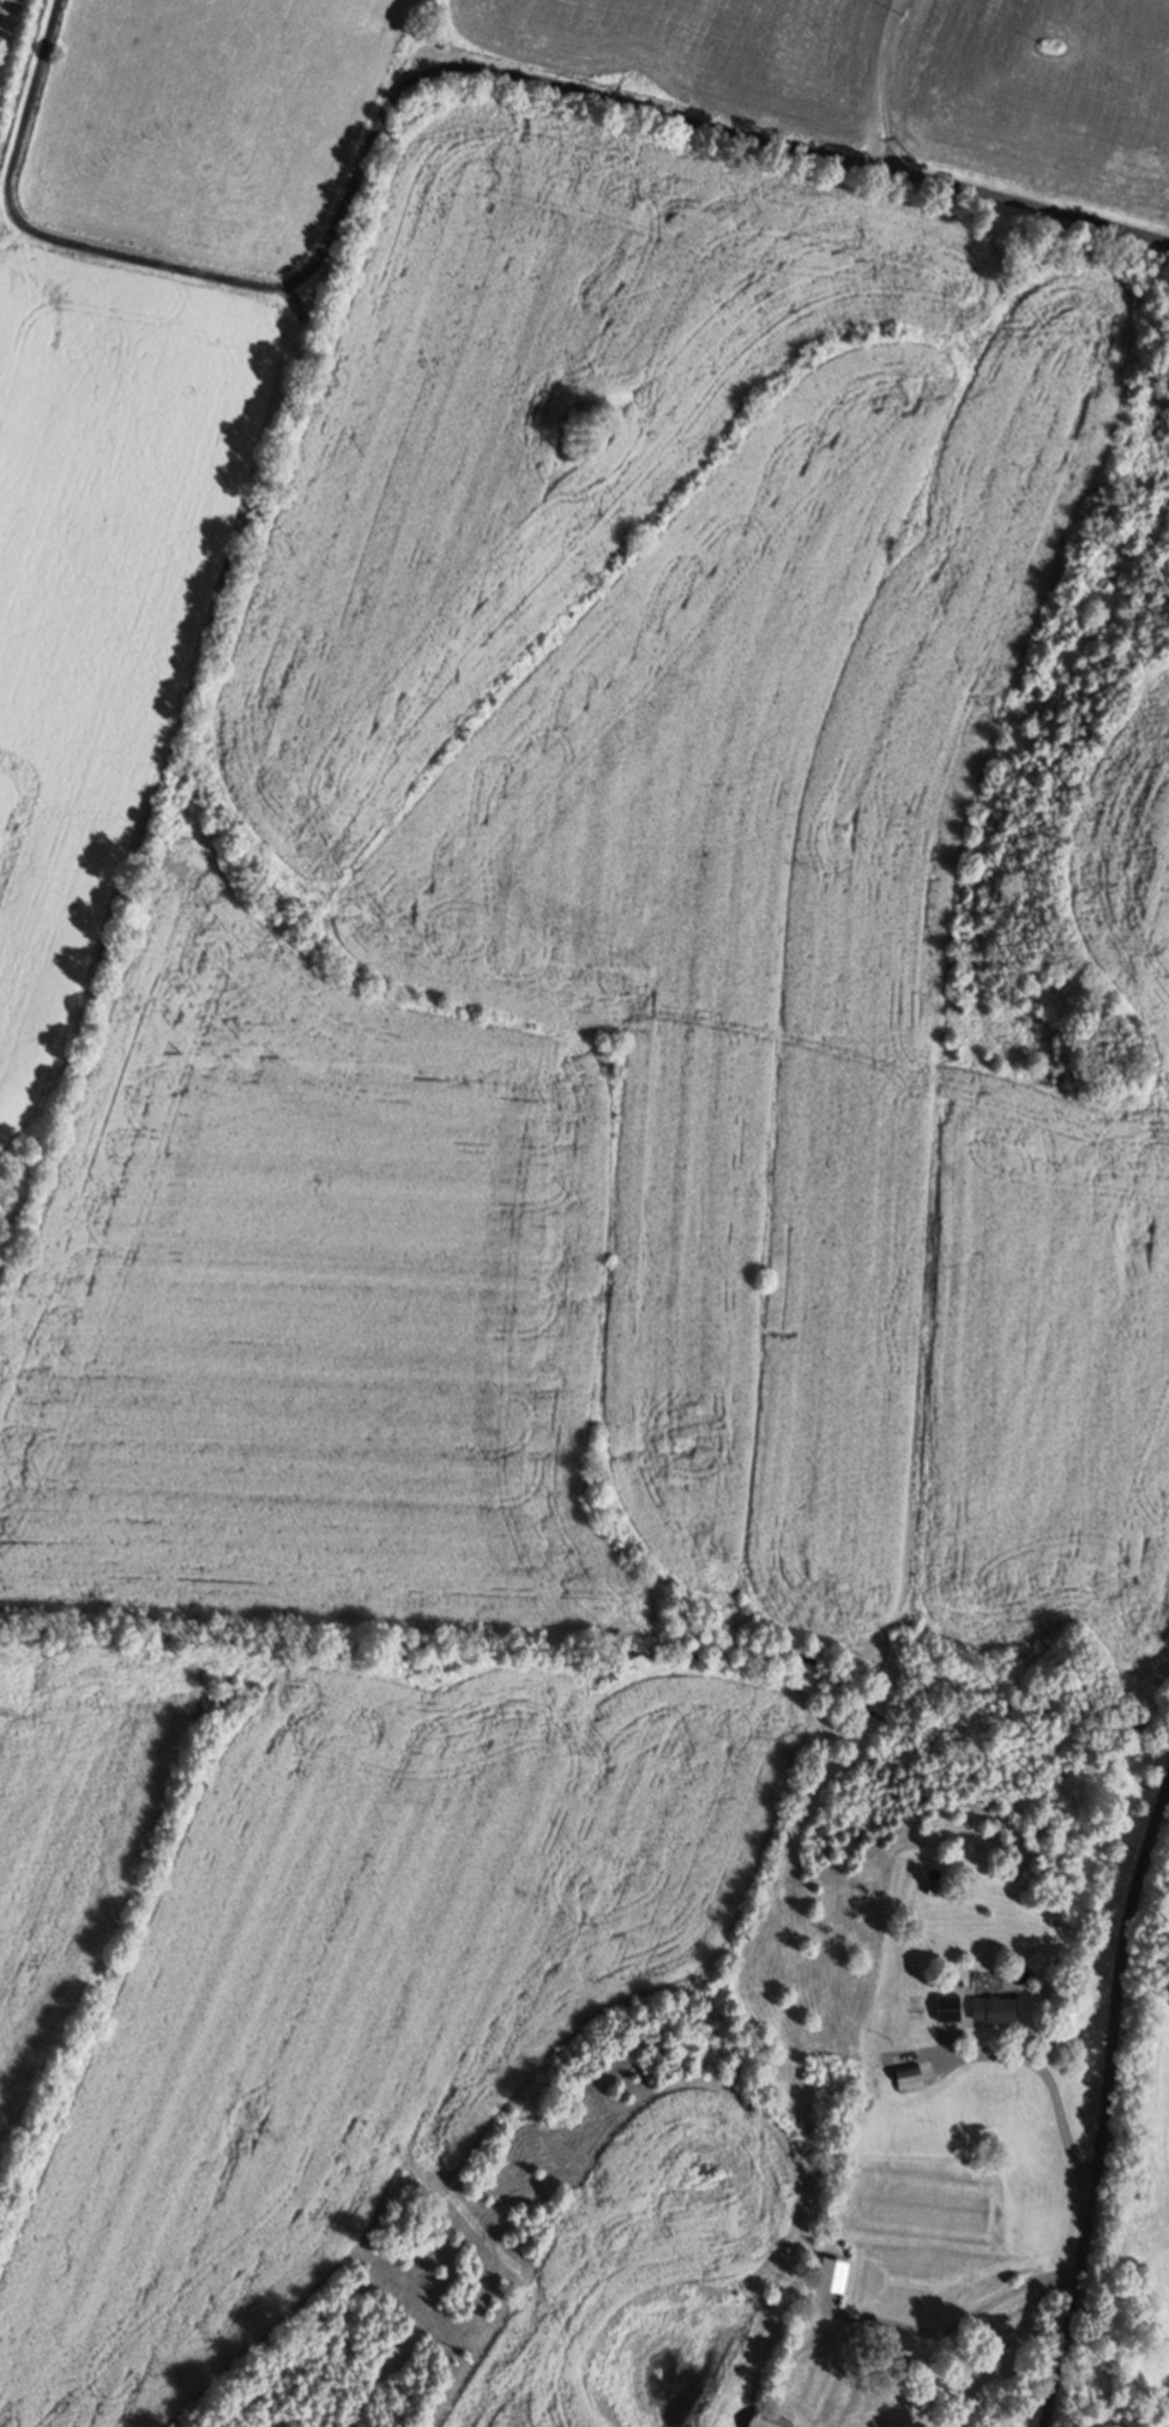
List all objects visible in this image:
road: (424, 78)
road: (887, 85)
road: (321, 284)
road: (297, 306)
road: (158, 794)
road: (1108, 2106)

